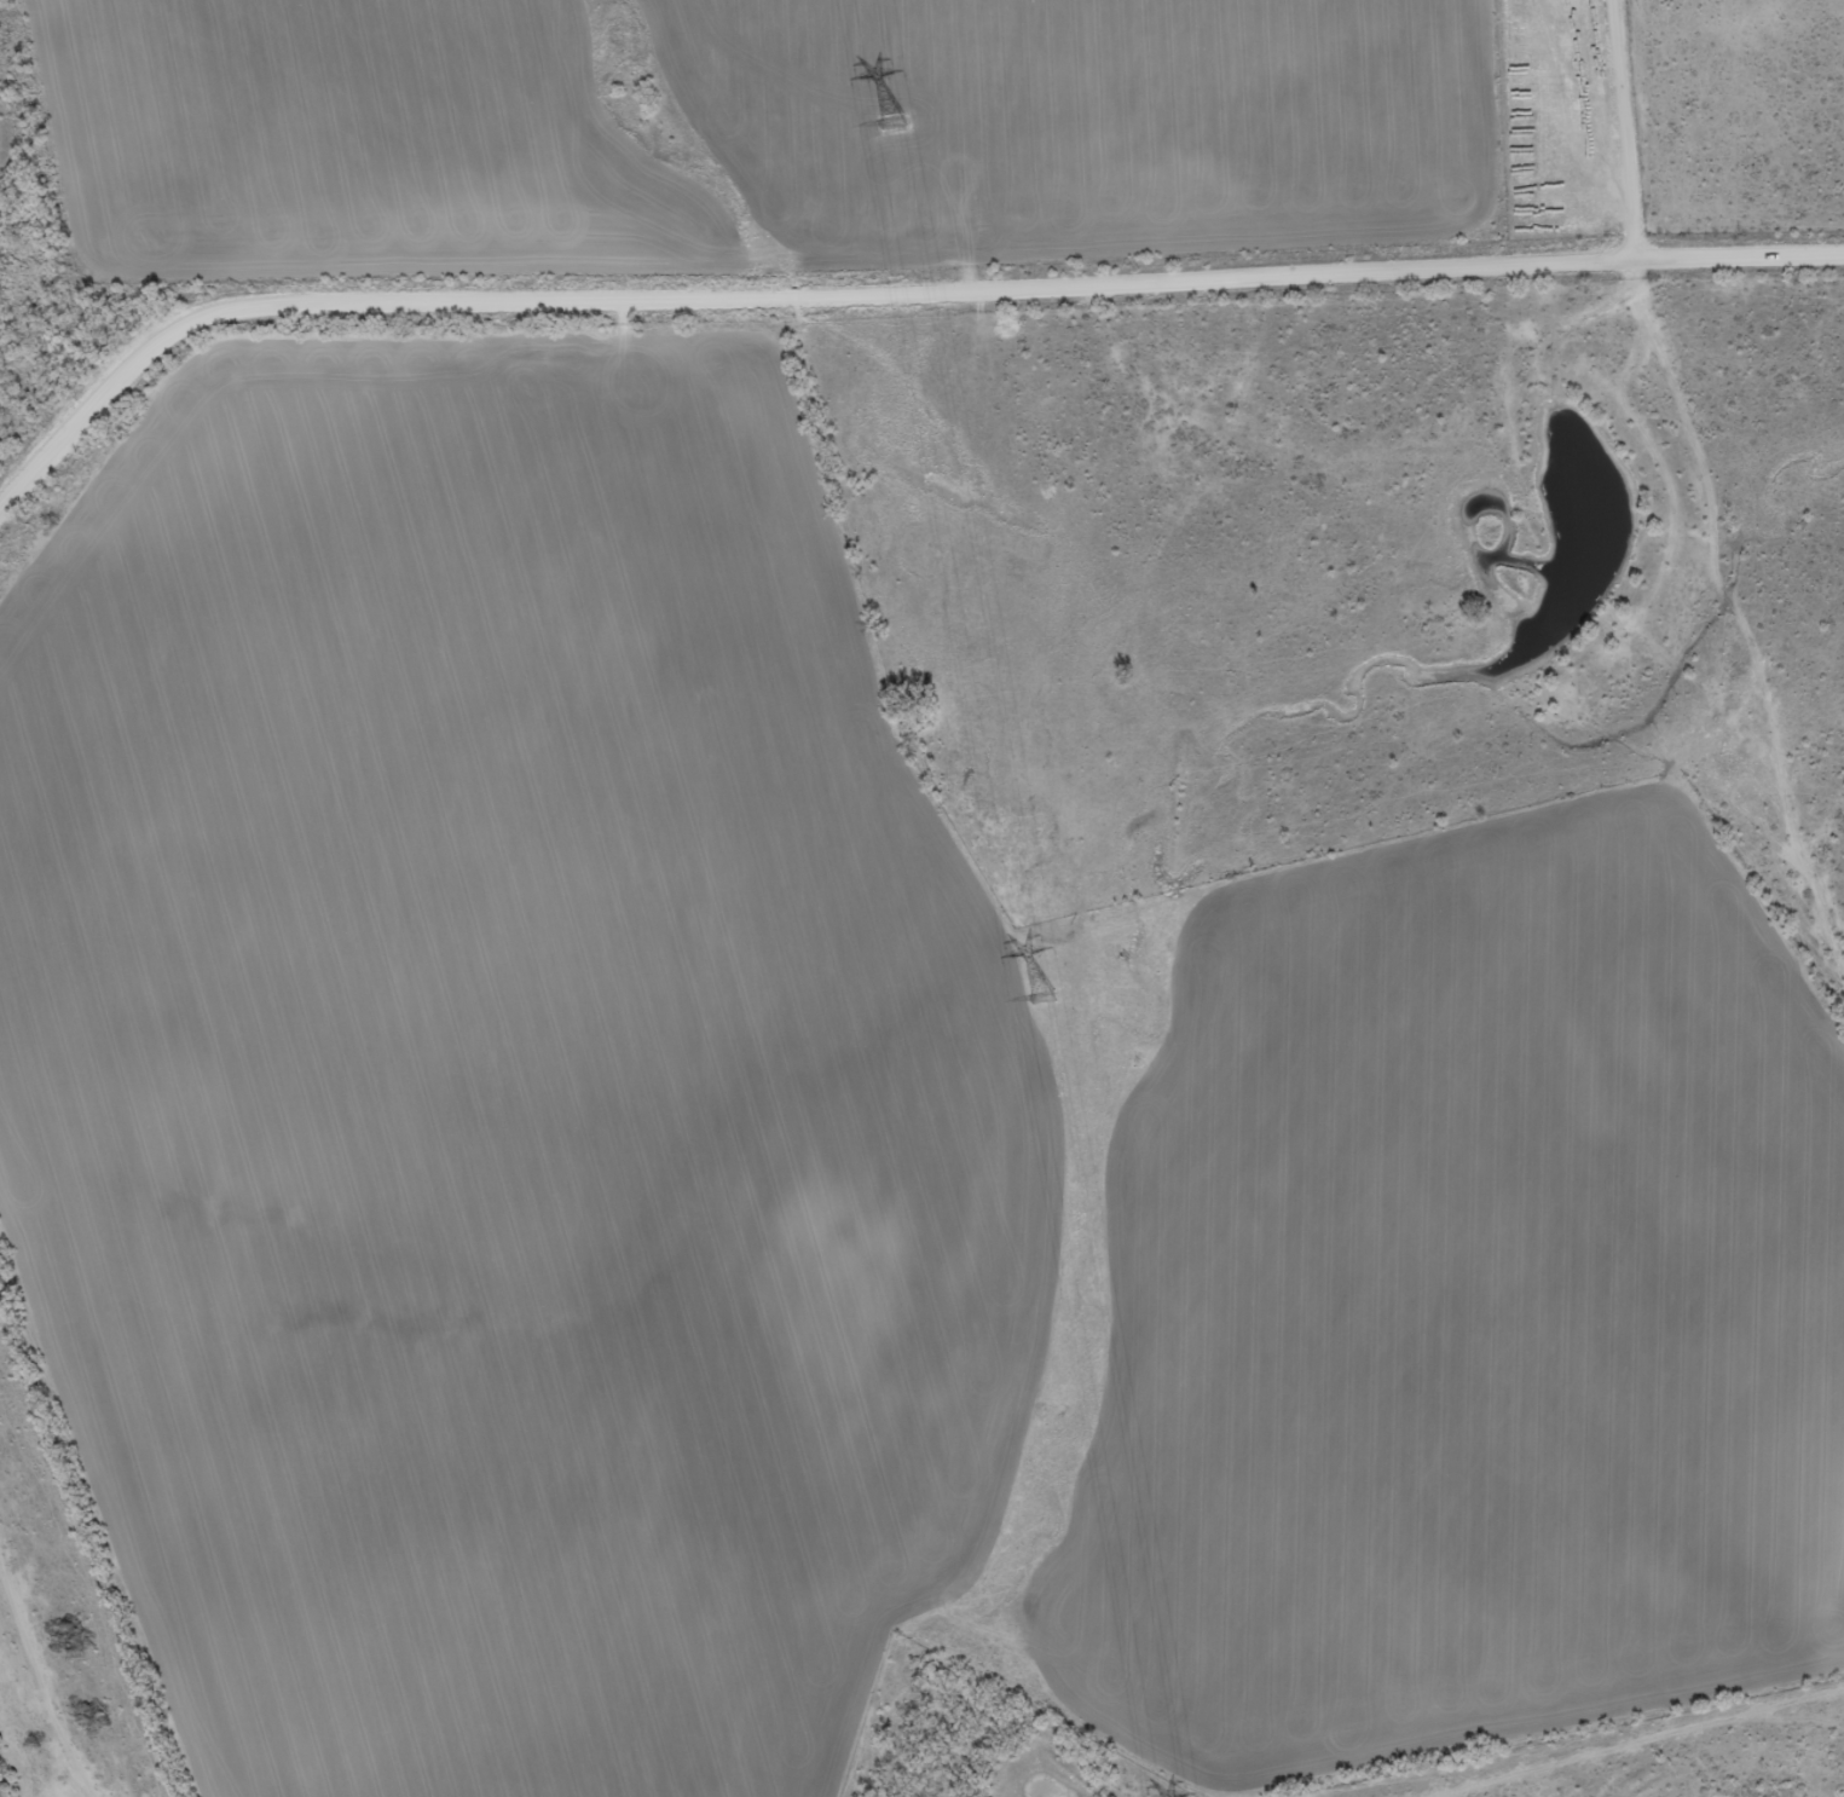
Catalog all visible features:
power tower: (891, 121)
road: (883, 284)
road: (1703, 479)
road: (1642, 713)
power tower: (1041, 996)

